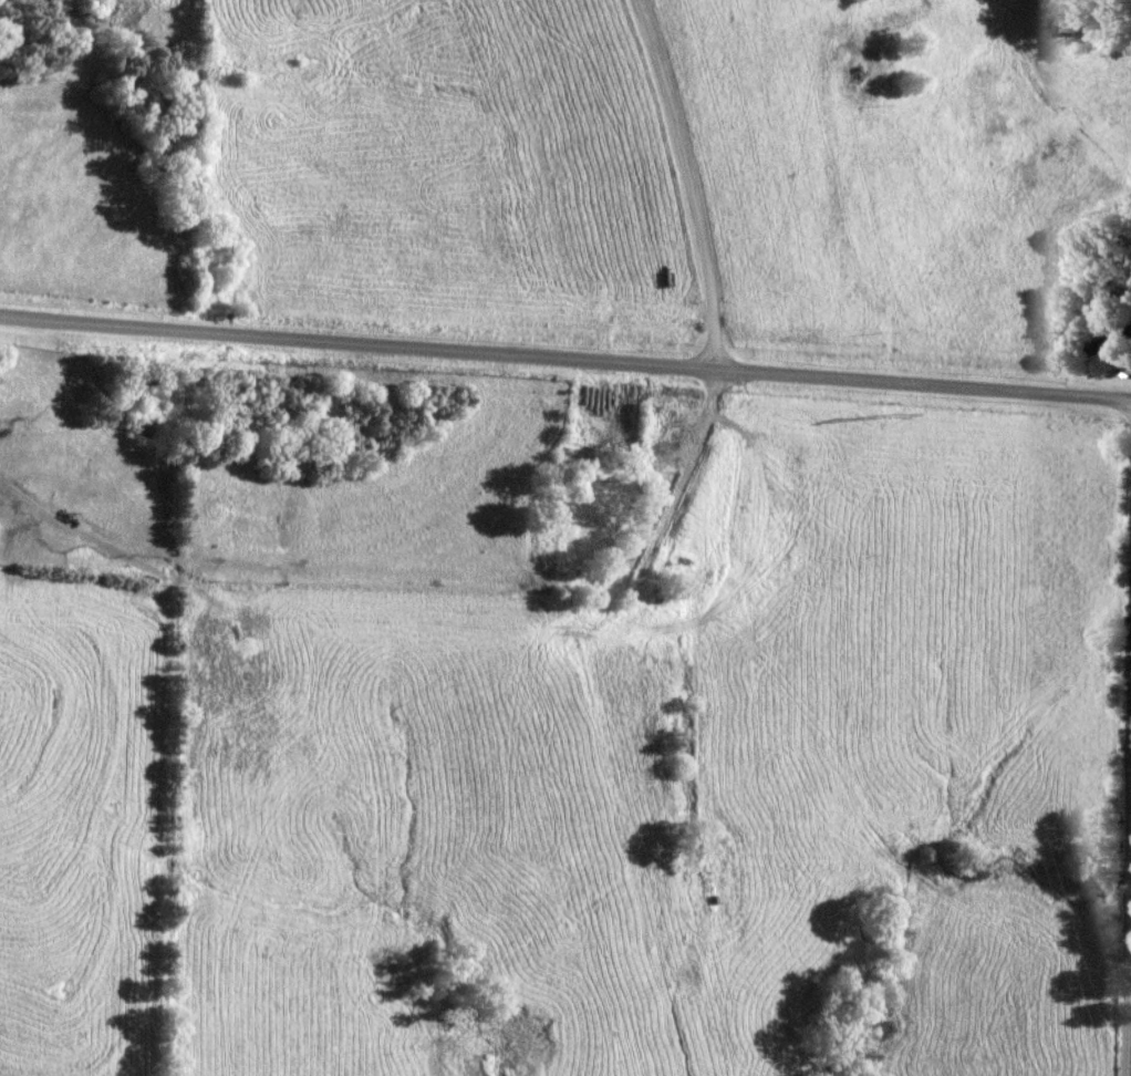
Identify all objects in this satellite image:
building: (860, 74)
road: (689, 180)
building: (1111, 342)
road: (564, 356)
road: (1128, 963)

